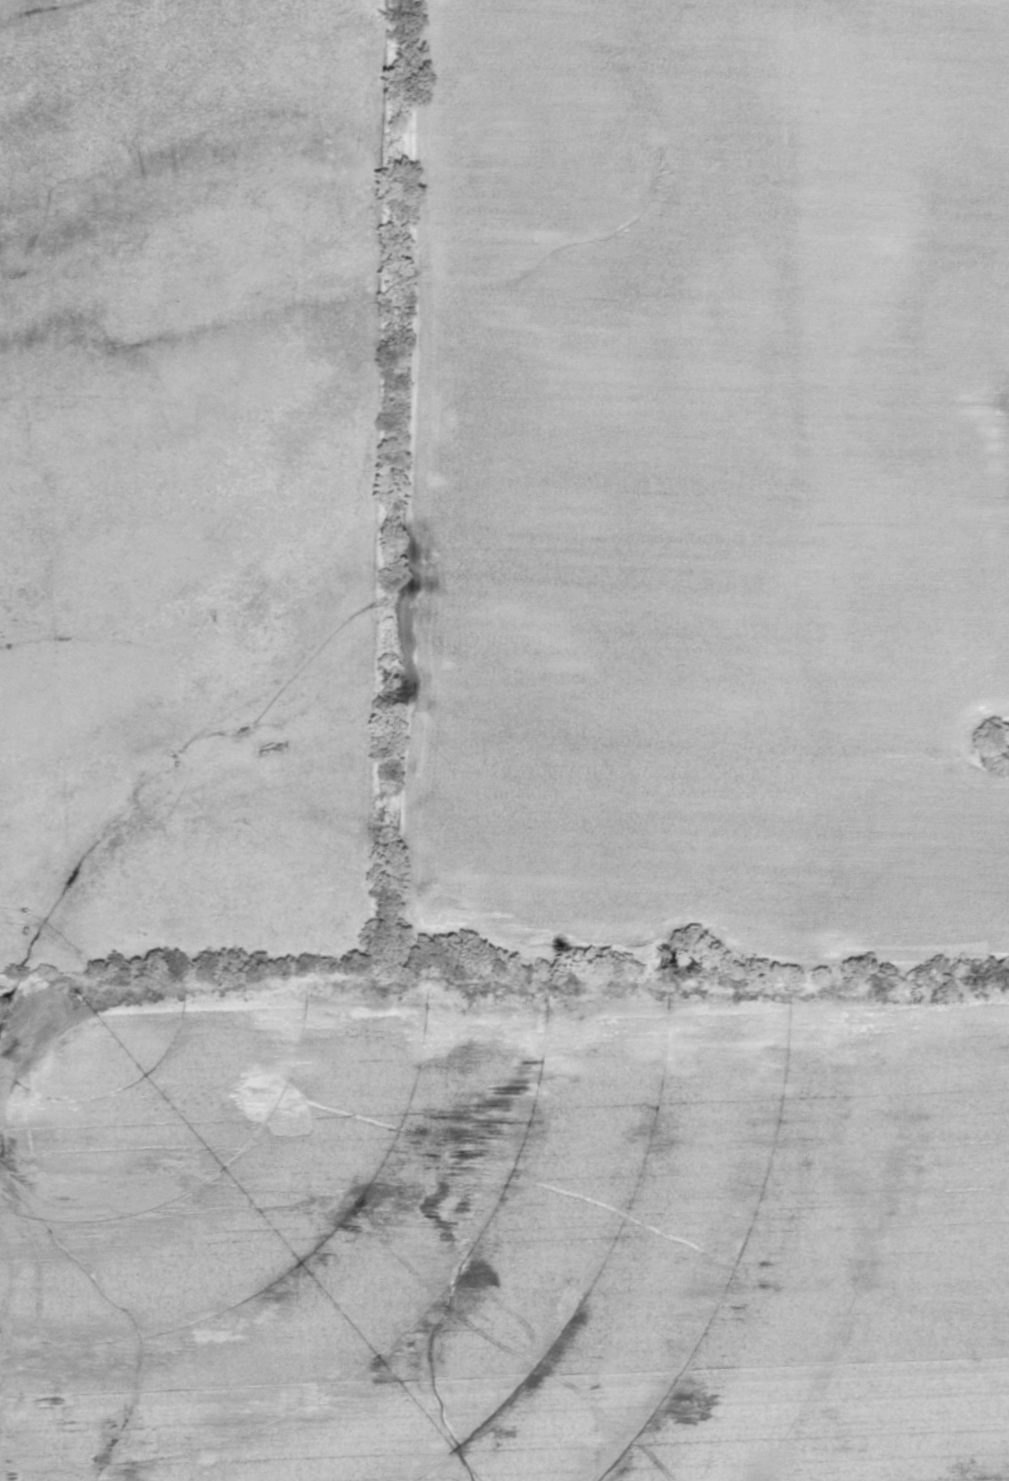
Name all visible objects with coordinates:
road: (861, 1254)

